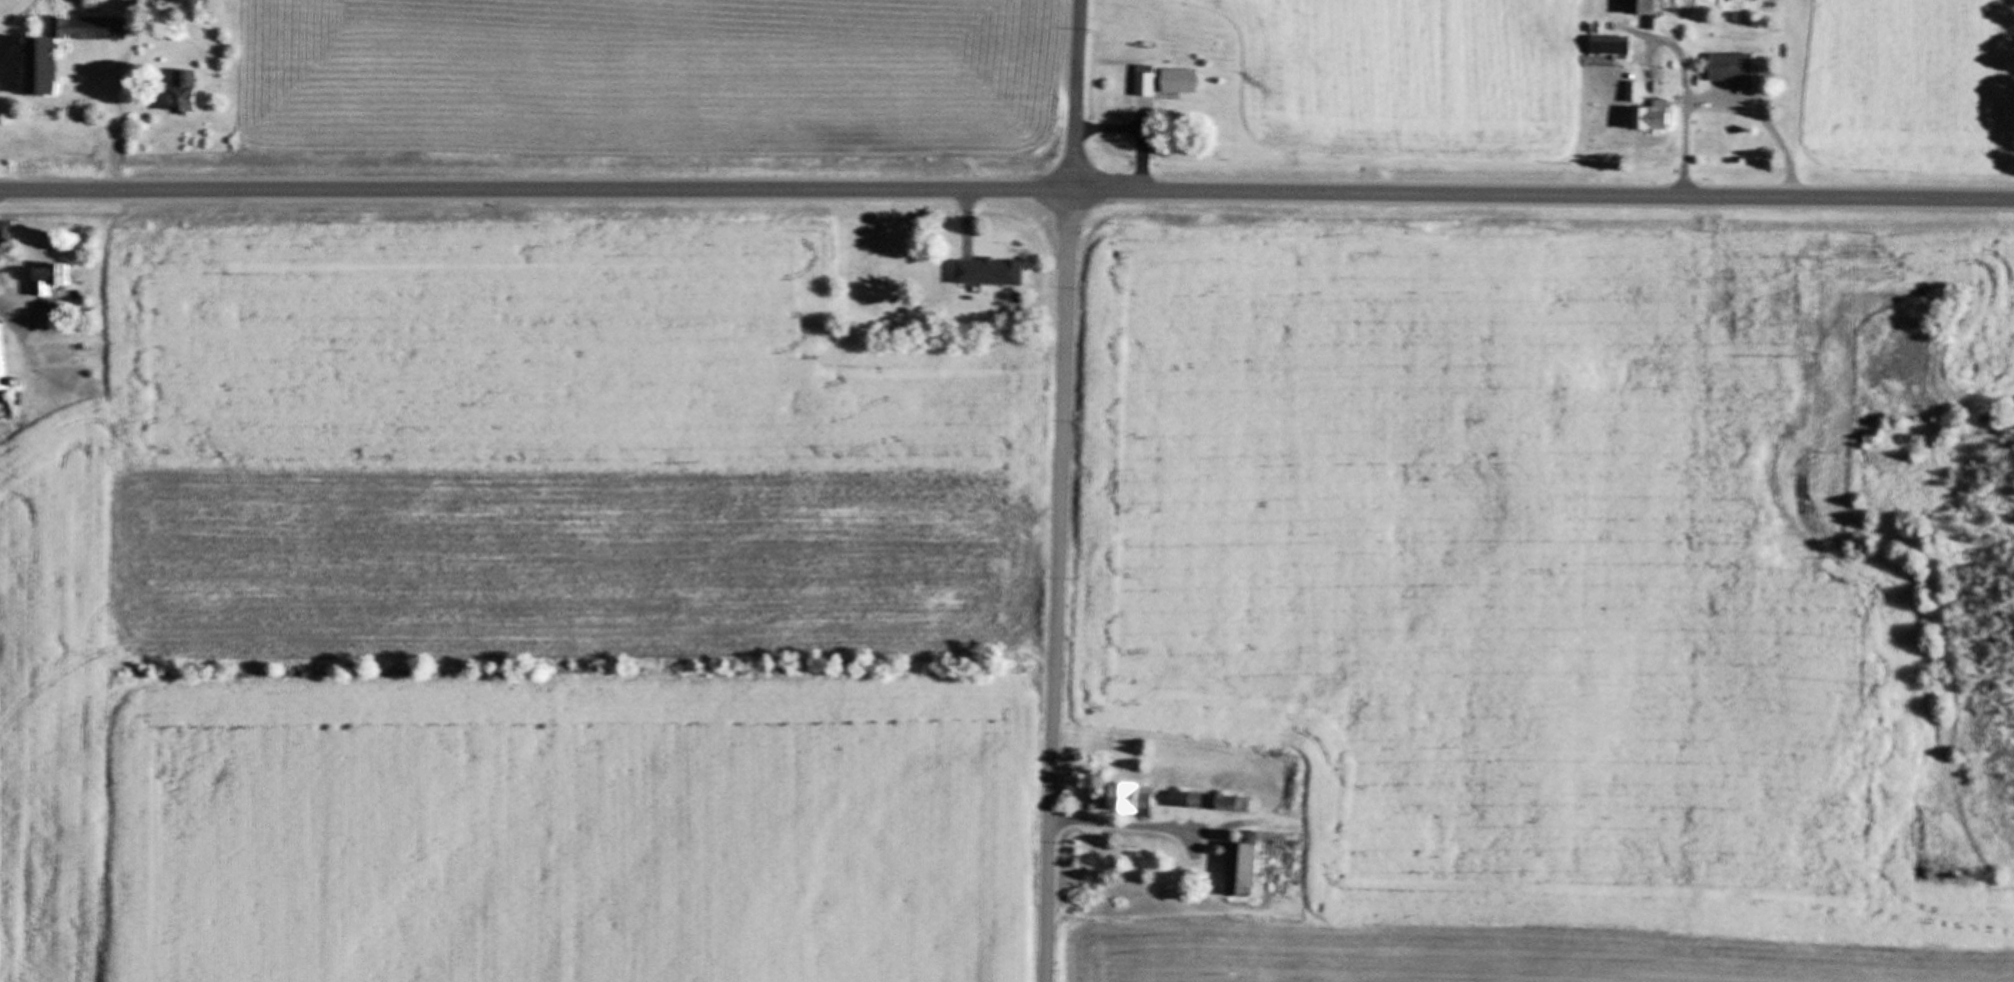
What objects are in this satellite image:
building: (1638, 10)
building: (1607, 45)
building: (47, 64)
building: (1729, 67)
building: (1147, 78)
building: (1185, 78)
building: (188, 89)
road: (1072, 94)
road: (1687, 111)
building: (1647, 118)
road: (1766, 120)
road: (116, 129)
road: (1144, 155)
road: (1007, 188)
road: (965, 212)
building: (8, 231)
building: (985, 270)
building: (52, 276)
road: (7, 313)
building: (5, 358)
road: (1054, 584)
building: (1138, 798)
road: (1119, 821)
building: (1252, 868)

